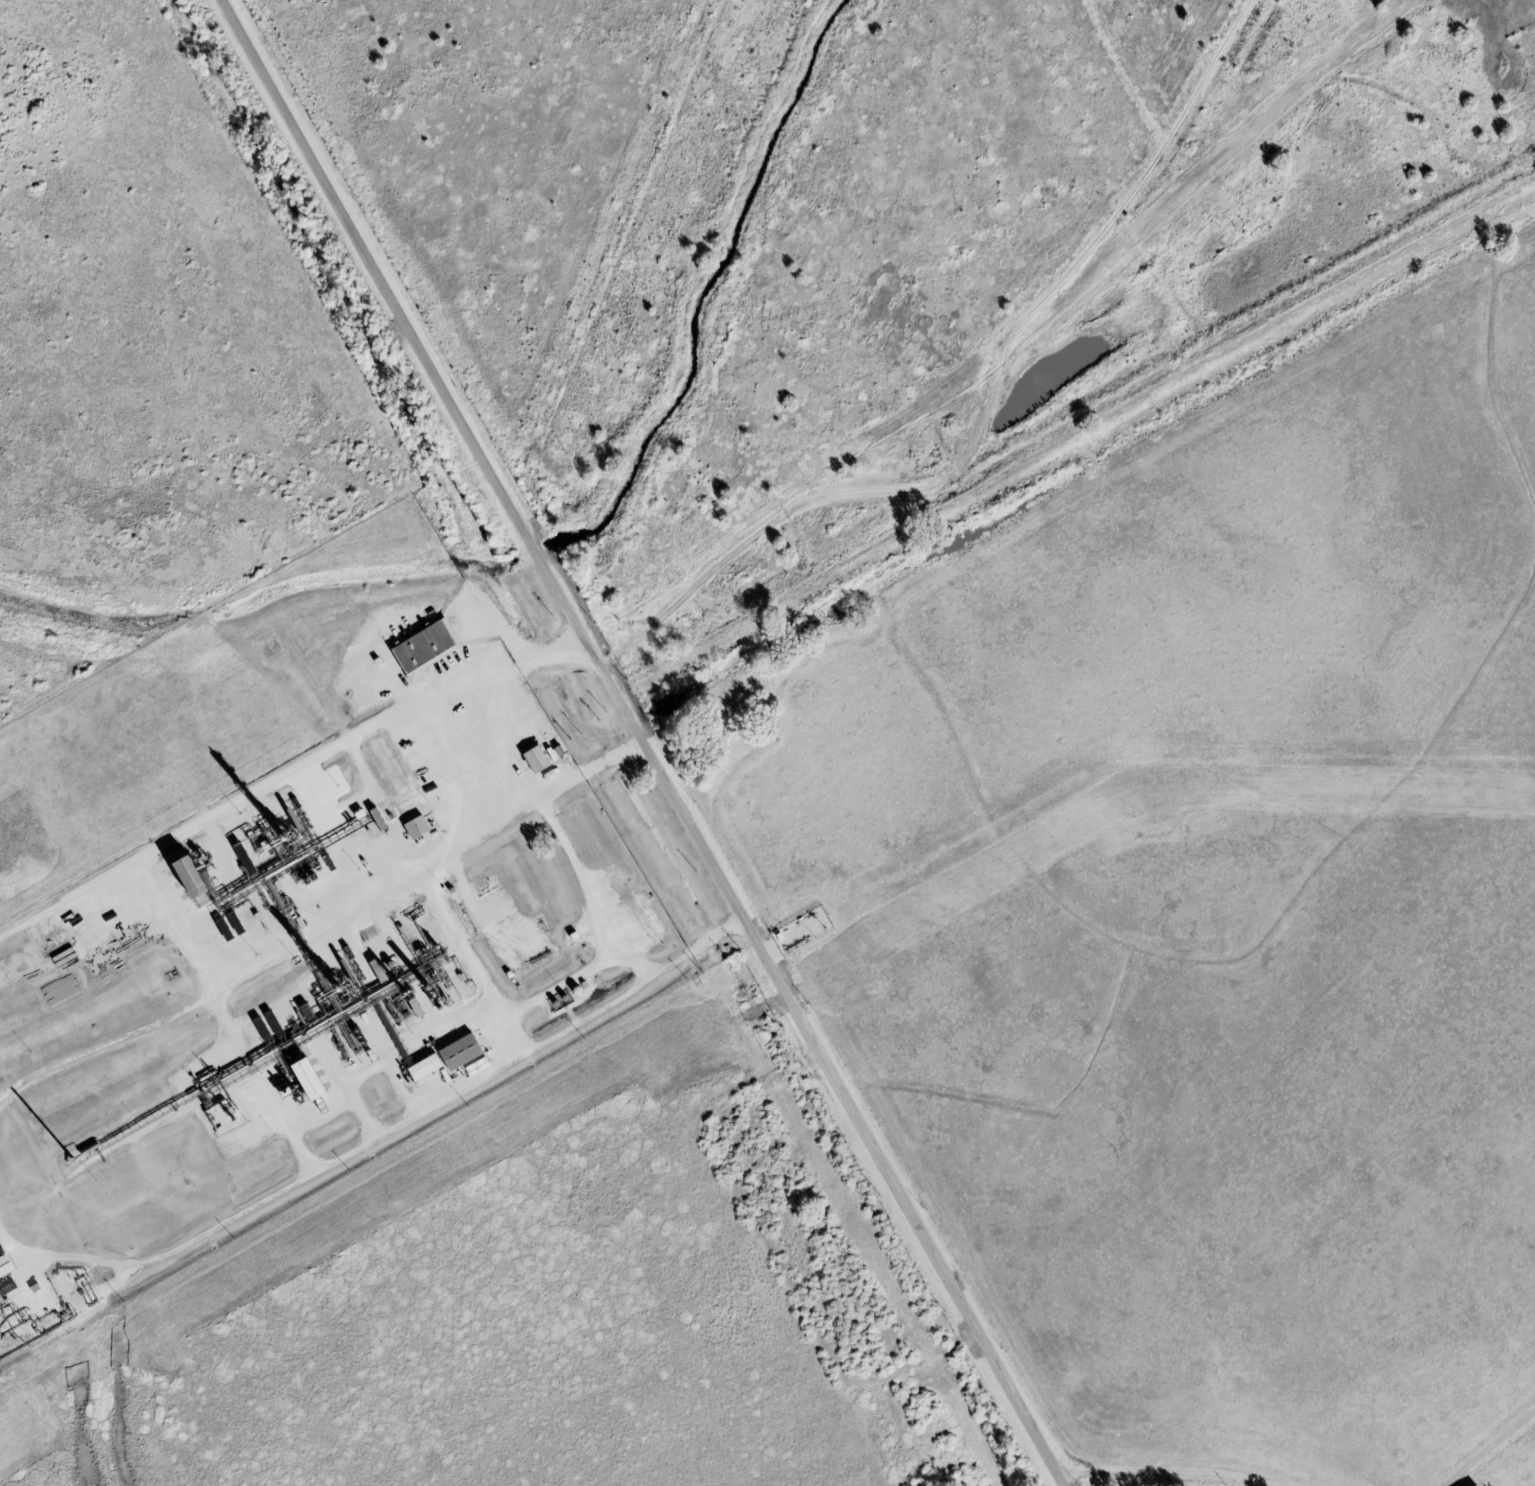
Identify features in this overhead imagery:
road: (991, 410)
building: (422, 649)
road: (642, 739)
building: (534, 760)
building: (377, 819)
building: (415, 827)
building: (183, 876)
building: (459, 1052)
building: (424, 1068)
building: (303, 1078)
building: (4, 1265)
road: (1062, 1482)
building: (1477, 1485)

